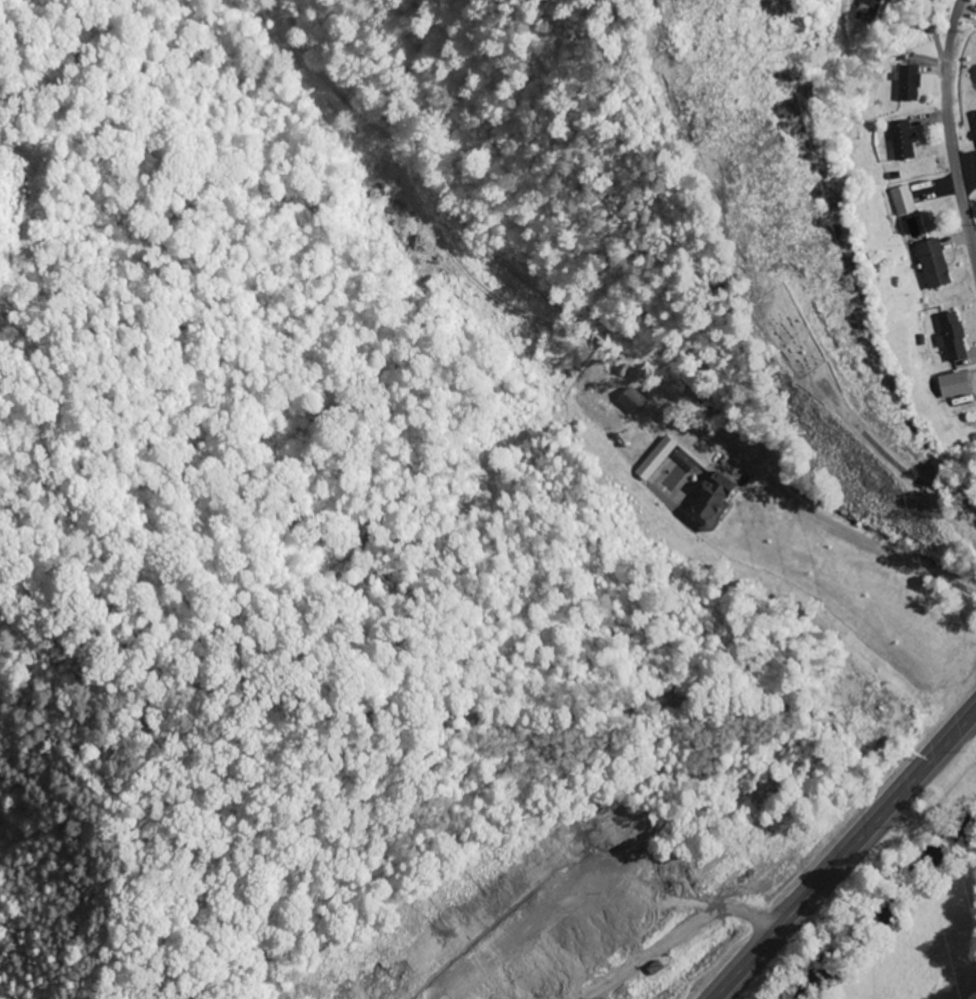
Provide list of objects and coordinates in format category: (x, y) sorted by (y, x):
road: (957, 121)
building: (974, 124)
building: (901, 138)
building: (930, 263)
building: (949, 337)
road: (846, 855)
road: (678, 936)
building: (651, 968)

